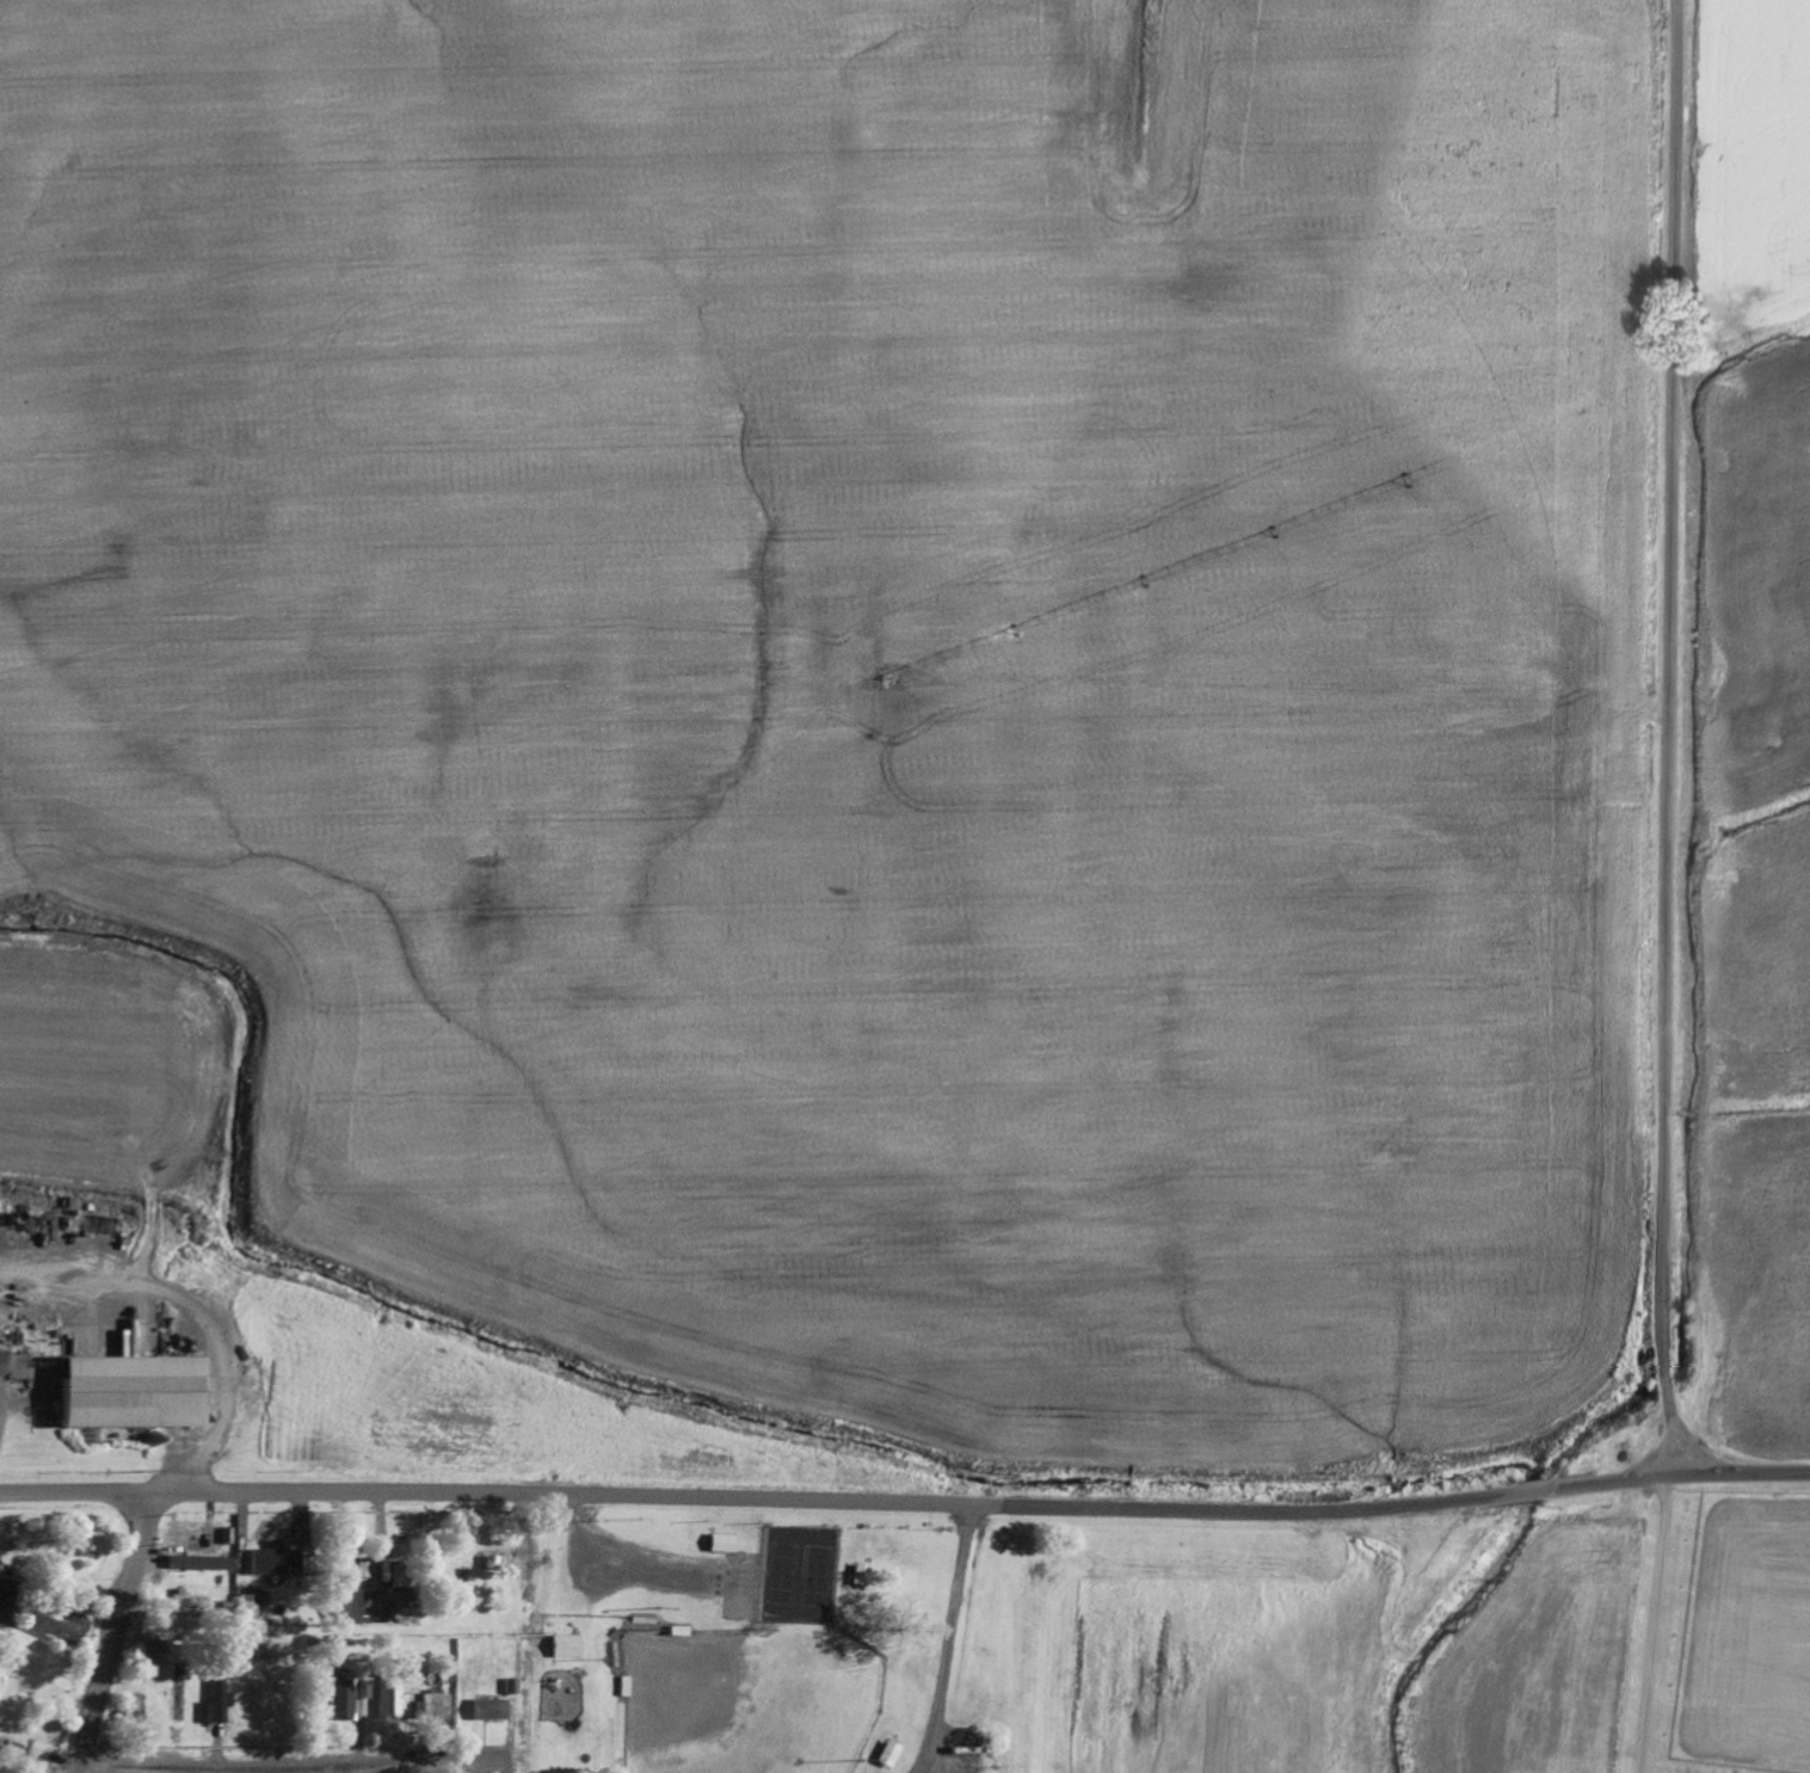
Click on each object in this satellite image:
crop: (1754, 579)
road: (1668, 738)
building: (117, 1392)
road: (259, 1490)
road: (1165, 1507)
building: (187, 1544)
building: (716, 1544)
building: (74, 1545)
building: (393, 1552)
building: (490, 1558)
building: (338, 1563)
building: (855, 1576)
park: (782, 1577)
park: (817, 1581)
building: (185, 1602)
building: (55, 1608)
building: (341, 1608)
road: (115, 1632)
building: (672, 1632)
building: (41, 1639)
building: (560, 1646)
building: (147, 1651)
building: (337, 1695)
building: (177, 1698)
park: (746, 1699)
building: (386, 1700)
building: (432, 1707)
building: (130, 1711)
building: (882, 1755)
road: (279, 1766)

